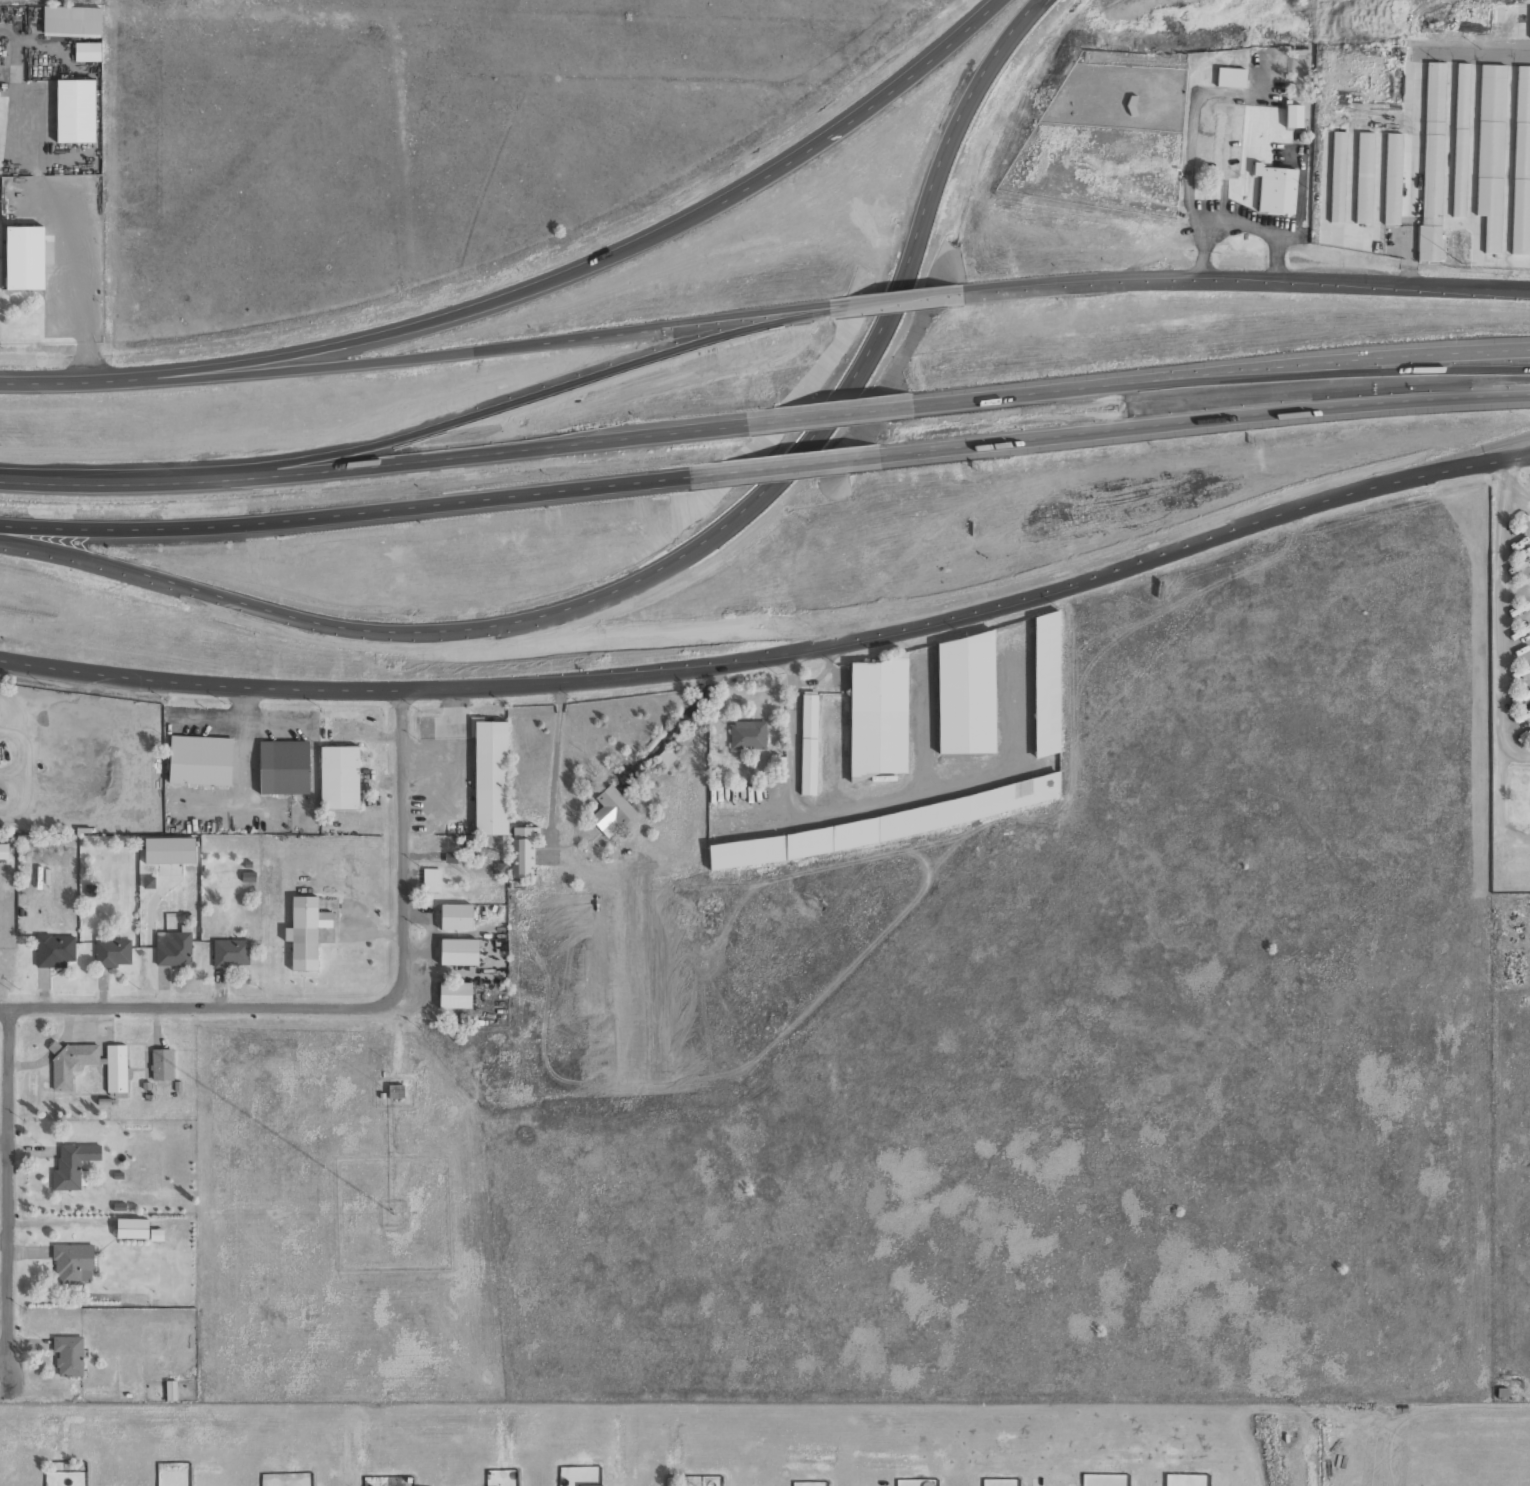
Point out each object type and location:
building: (71, 21)
building: (1529, 26)
building: (87, 52)
building: (1230, 77)
building: (75, 111)
building: (1293, 116)
building: (1459, 140)
building: (1489, 154)
building: (1432, 162)
building: (1521, 164)
building: (1337, 177)
building: (1364, 178)
building: (1392, 179)
building: (1275, 189)
road: (638, 244)
building: (24, 258)
road: (1244, 284)
road: (898, 301)
road: (528, 345)
road: (1223, 374)
road: (109, 381)
road: (846, 413)
road: (1201, 420)
road: (1465, 456)
road: (795, 465)
road: (388, 468)
road: (359, 513)
road: (1, 539)
road: (665, 562)
road: (776, 656)
building: (1045, 685)
building: (964, 695)
building: (877, 717)
building: (747, 735)
building: (807, 744)
building: (200, 760)
building: (283, 767)
building: (779, 769)
building: (338, 778)
building: (491, 778)
building: (611, 812)
road: (403, 840)
building: (168, 850)
building: (3, 851)
building: (523, 852)
building: (431, 880)
building: (148, 882)
building: (455, 917)
building: (305, 932)
building: (173, 949)
building: (54, 951)
building: (458, 952)
building: (112, 953)
building: (230, 953)
building: (454, 995)
road: (205, 1005)
building: (71, 1062)
building: (161, 1065)
building: (116, 1069)
building: (70, 1165)
road: (8, 1192)
building: (132, 1228)
building: (73, 1263)
building: (68, 1355)
building: (170, 1391)
building: (589, 1485)

